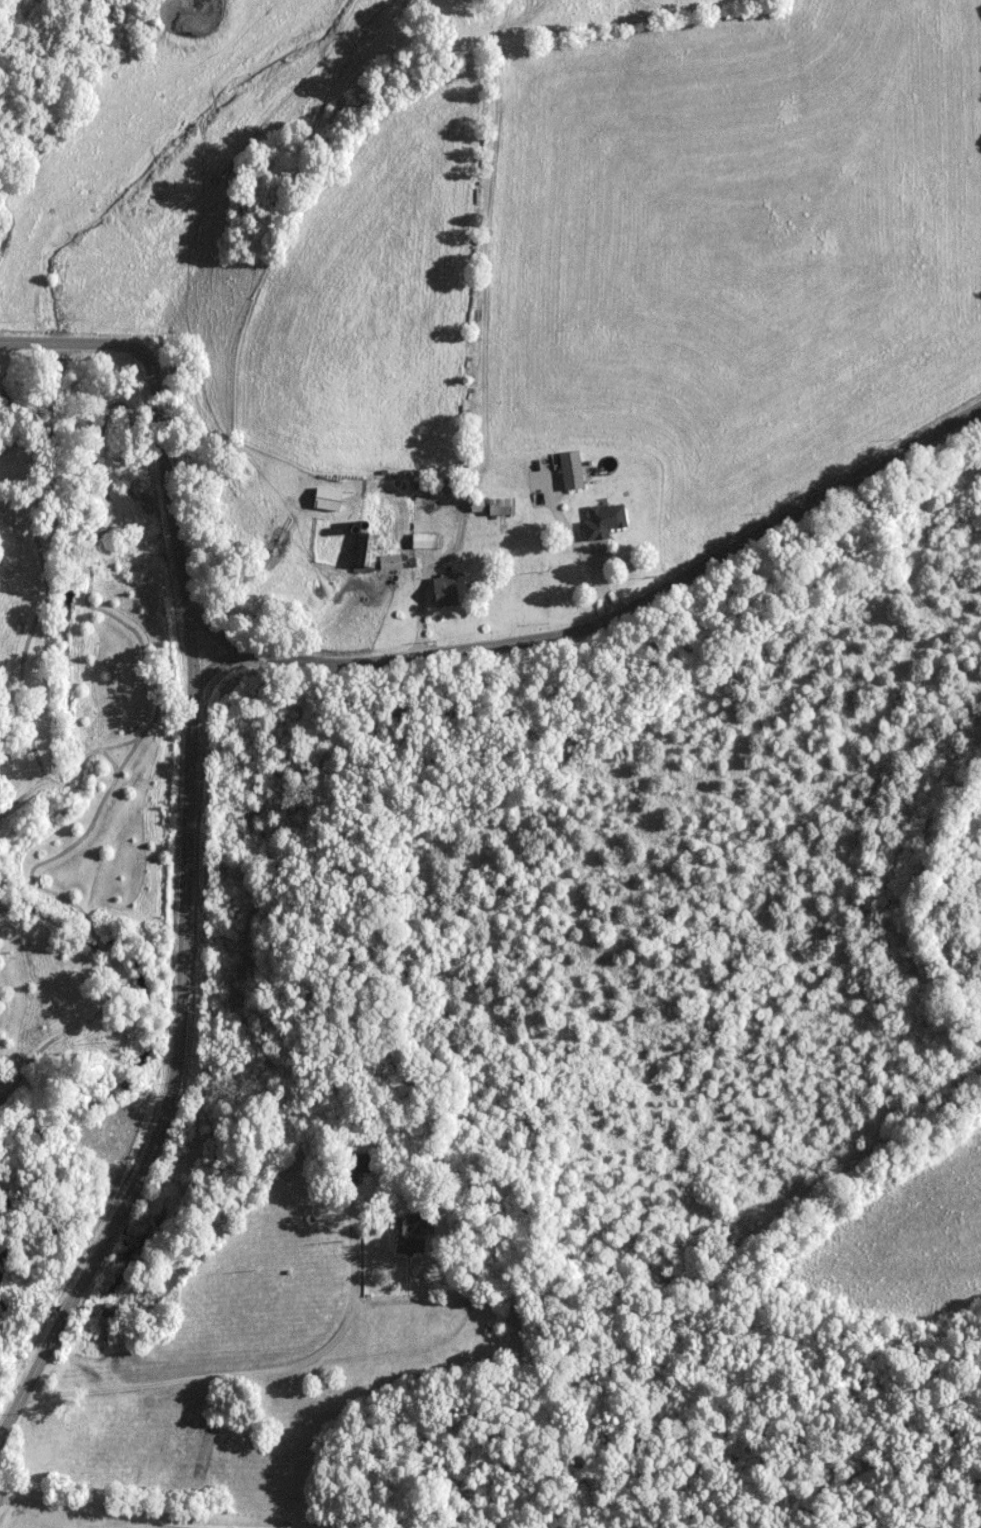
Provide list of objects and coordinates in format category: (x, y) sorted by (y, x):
building: (573, 471)
building: (329, 500)
building: (495, 507)
building: (605, 522)
building: (427, 542)
building: (366, 553)
building: (398, 563)
building: (446, 591)
road: (192, 643)
road: (403, 651)
road: (176, 1052)
building: (359, 1166)
building: (410, 1234)
road: (438, 1302)
building: (112, 1313)
road: (261, 1369)
road: (124, 1514)
road: (356, 1524)

